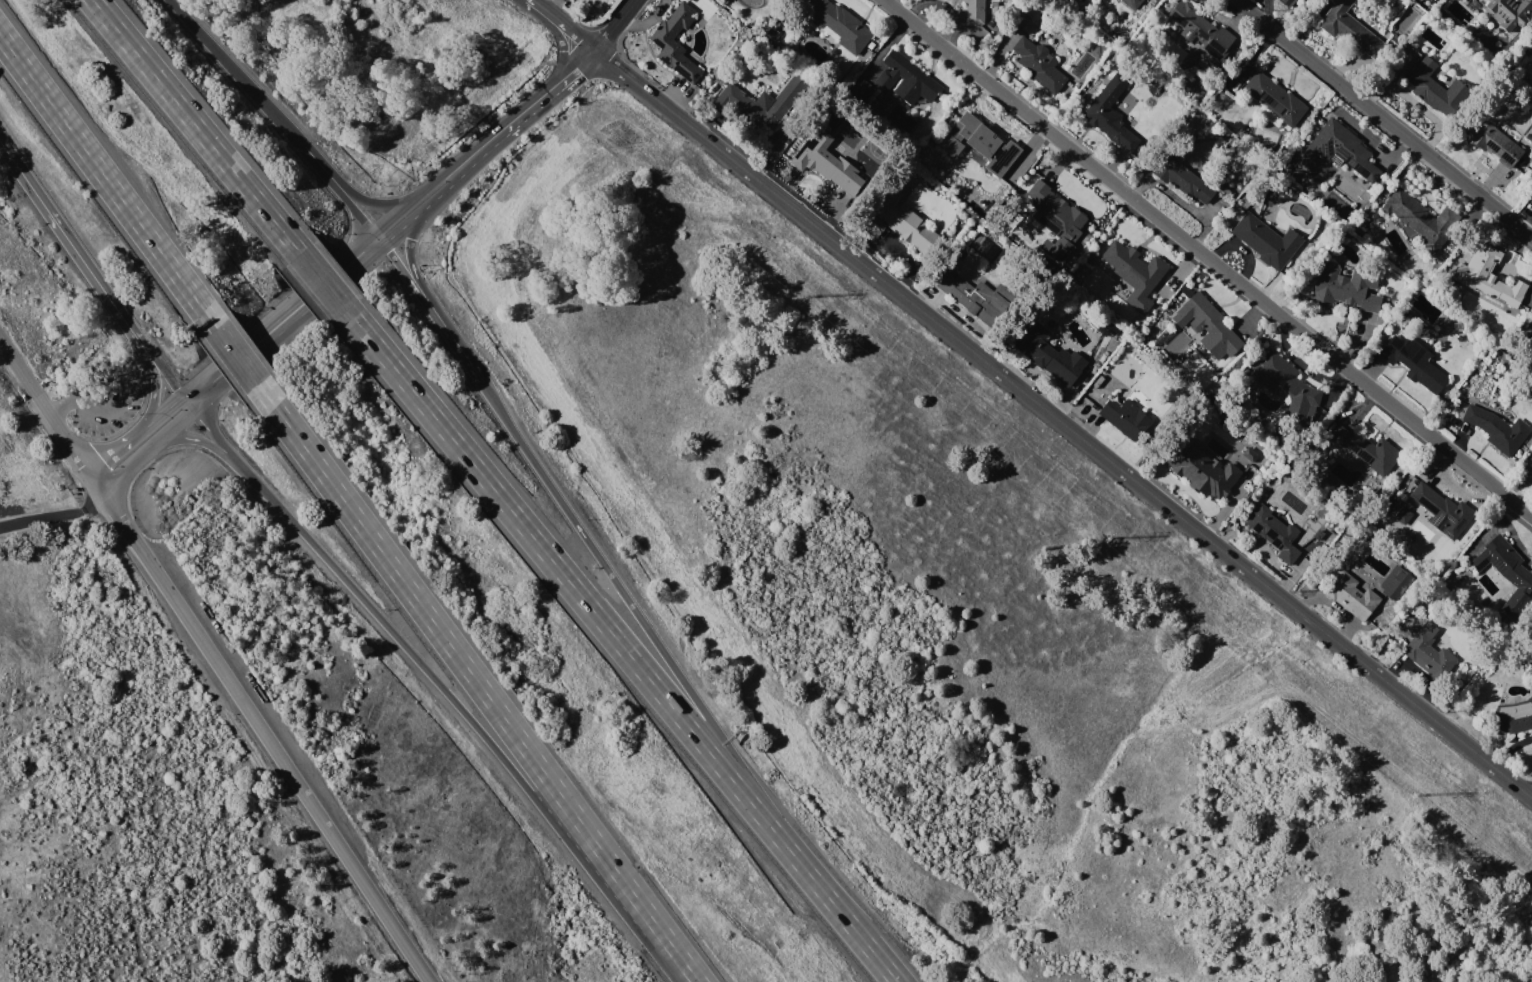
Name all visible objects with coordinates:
building: (1289, 2)
building: (1131, 3)
building: (974, 11)
building: (1507, 12)
road: (565, 23)
road: (616, 24)
building: (840, 25)
road: (555, 30)
building: (1201, 30)
building: (1349, 30)
building: (676, 42)
building: (1039, 65)
building: (906, 79)
road: (555, 85)
building: (1435, 87)
building: (1275, 98)
building: (763, 102)
building: (1110, 113)
road: (275, 116)
road: (1382, 119)
road: (195, 126)
building: (985, 136)
building: (1494, 143)
building: (1342, 149)
building: (1002, 157)
road: (462, 164)
building: (819, 165)
building: (1184, 177)
road: (107, 182)
road: (363, 200)
building: (1053, 215)
building: (1422, 217)
building: (901, 223)
road: (65, 234)
building: (1267, 240)
road: (1207, 259)
road: (412, 262)
building: (1131, 273)
road: (405, 274)
building: (1489, 276)
road: (322, 281)
building: (1346, 288)
building: (974, 295)
power tower: (804, 296)
road: (299, 303)
building: (1209, 328)
building: (1531, 334)
road: (459, 347)
road: (235, 355)
building: (1050, 359)
building: (1414, 364)
road: (159, 365)
road: (153, 376)
road: (129, 379)
building: (1286, 383)
parking lot: (102, 394)
road: (44, 404)
road: (167, 413)
building: (1127, 417)
road: (1064, 425)
building: (1496, 428)
road: (216, 435)
road: (207, 445)
road: (119, 448)
road: (148, 448)
building: (1366, 450)
building: (1248, 455)
building: (1201, 469)
park: (8, 497)
building: (1442, 510)
road: (55, 515)
building: (1403, 515)
building: (1273, 532)
power tower: (1107, 537)
building: (1505, 571)
road: (567, 580)
building: (1395, 583)
building: (1352, 594)
road: (638, 615)
building: (1428, 652)
road: (476, 682)
building: (1513, 717)
road: (473, 722)
road: (260, 725)
power tower: (1412, 794)
road: (842, 916)

